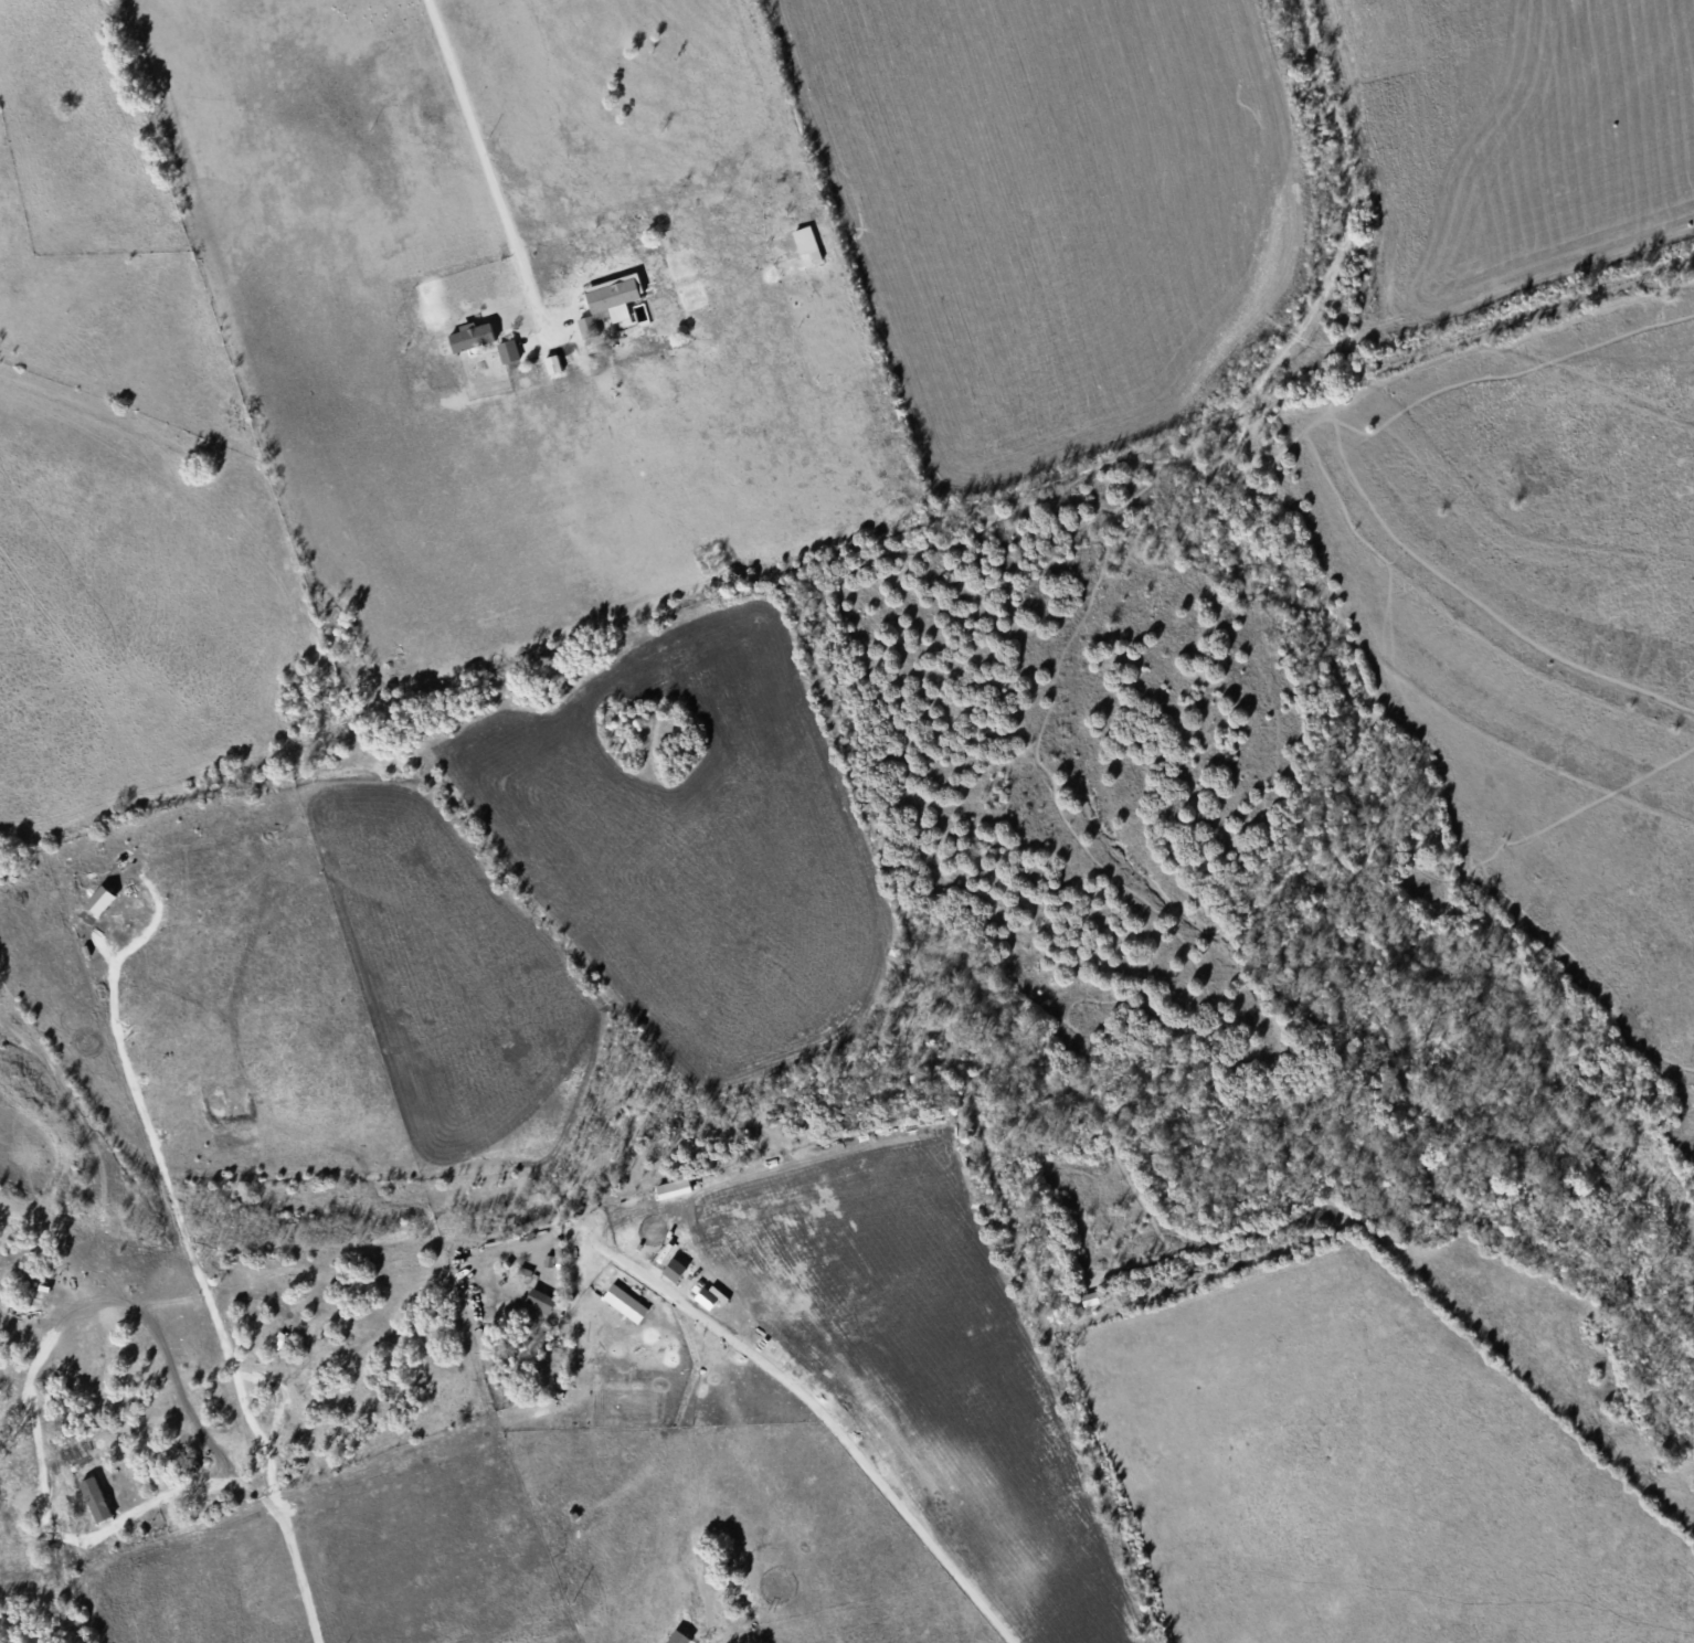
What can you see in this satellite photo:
road: (491, 161)
building: (807, 242)
building: (610, 300)
building: (473, 335)
building: (508, 350)
building: (552, 363)
building: (100, 899)
building: (674, 1187)
building: (676, 1269)
building: (707, 1297)
building: (540, 1300)
building: (625, 1302)
road: (845, 1427)
building: (96, 1498)
building: (673, 1639)

